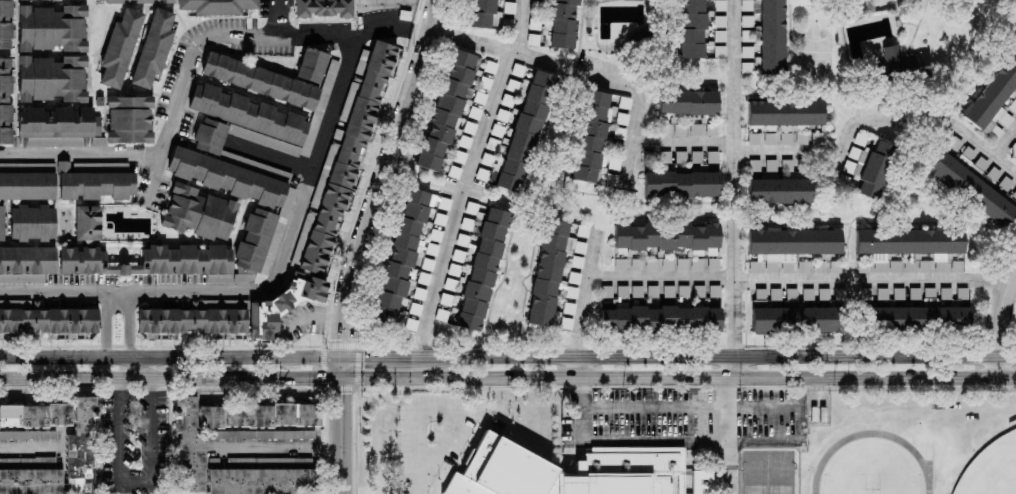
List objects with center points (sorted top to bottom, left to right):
building: (110, 1)
building: (154, 1)
building: (719, 5)
building: (217, 6)
building: (509, 7)
building: (324, 8)
building: (482, 13)
road: (283, 15)
building: (719, 21)
building: (5, 24)
road: (525, 24)
building: (557, 24)
building: (52, 28)
building: (692, 28)
road: (234, 35)
building: (720, 36)
building: (772, 37)
building: (533, 39)
road: (476, 40)
building: (119, 48)
building: (153, 48)
building: (746, 51)
building: (900, 63)
building: (311, 65)
building: (490, 67)
building: (517, 70)
building: (52, 78)
building: (260, 81)
building: (484, 82)
road: (625, 82)
building: (512, 85)
building: (479, 97)
building: (995, 99)
building: (6, 100)
building: (624, 102)
building: (687, 102)
building: (447, 108)
building: (474, 112)
building: (785, 112)
building: (502, 115)
building: (264, 117)
building: (129, 119)
building: (622, 119)
building: (59, 123)
building: (469, 127)
building: (695, 129)
building: (497, 130)
building: (679, 130)
building: (711, 130)
building: (524, 133)
building: (210, 135)
building: (592, 136)
building: (753, 138)
building: (55, 141)
building: (464, 141)
road: (84, 143)
building: (954, 143)
building: (492, 144)
road: (1008, 146)
road: (835, 150)
building: (1013, 151)
building: (649, 157)
building: (680, 157)
building: (696, 157)
building: (712, 157)
building: (487, 159)
road: (266, 164)
road: (831, 164)
building: (340, 165)
building: (754, 165)
building: (453, 172)
building: (482, 174)
road: (385, 177)
building: (70, 182)
building: (680, 184)
building: (970, 189)
building: (779, 190)
road: (468, 200)
building: (444, 203)
building: (474, 210)
building: (198, 213)
building: (440, 219)
building: (1, 223)
building: (32, 223)
building: (87, 223)
building: (265, 223)
building: (466, 224)
building: (435, 235)
building: (666, 236)
building: (792, 243)
building: (911, 243)
building: (574, 246)
road: (735, 247)
building: (431, 249)
building: (402, 251)
building: (458, 255)
building: (713, 259)
building: (154, 261)
building: (26, 263)
building: (427, 264)
building: (636, 264)
building: (650, 264)
building: (667, 264)
building: (681, 264)
building: (696, 264)
building: (619, 265)
building: (482, 269)
building: (453, 270)
building: (547, 272)
building: (423, 279)
road: (797, 281)
building: (450, 284)
building: (682, 290)
road: (267, 291)
building: (636, 291)
building: (668, 291)
building: (571, 292)
building: (419, 293)
building: (898, 294)
building: (445, 299)
road: (583, 301)
building: (283, 304)
building: (415, 308)
building: (568, 308)
building: (441, 314)
building: (918, 317)
building: (197, 318)
building: (662, 318)
building: (48, 320)
road: (1000, 320)
building: (411, 324)
road: (111, 325)
road: (136, 326)
traffic signals: (344, 338)
road: (709, 355)
traffic signals: (364, 356)
road: (372, 356)
road: (68, 358)
road: (239, 358)
road: (341, 367)
road: (170, 376)
road: (678, 376)
traffic signals: (317, 378)
traffic signals: (342, 393)
road: (579, 405)
road: (687, 405)
road: (795, 420)
road: (687, 433)
building: (263, 434)
road: (343, 435)
road: (19, 441)
road: (283, 449)
track: (821, 463)
building: (188, 464)
building: (79, 465)
park: (991, 468)
building: (561, 472)
road: (146, 478)
building: (261, 481)
building: (29, 482)

